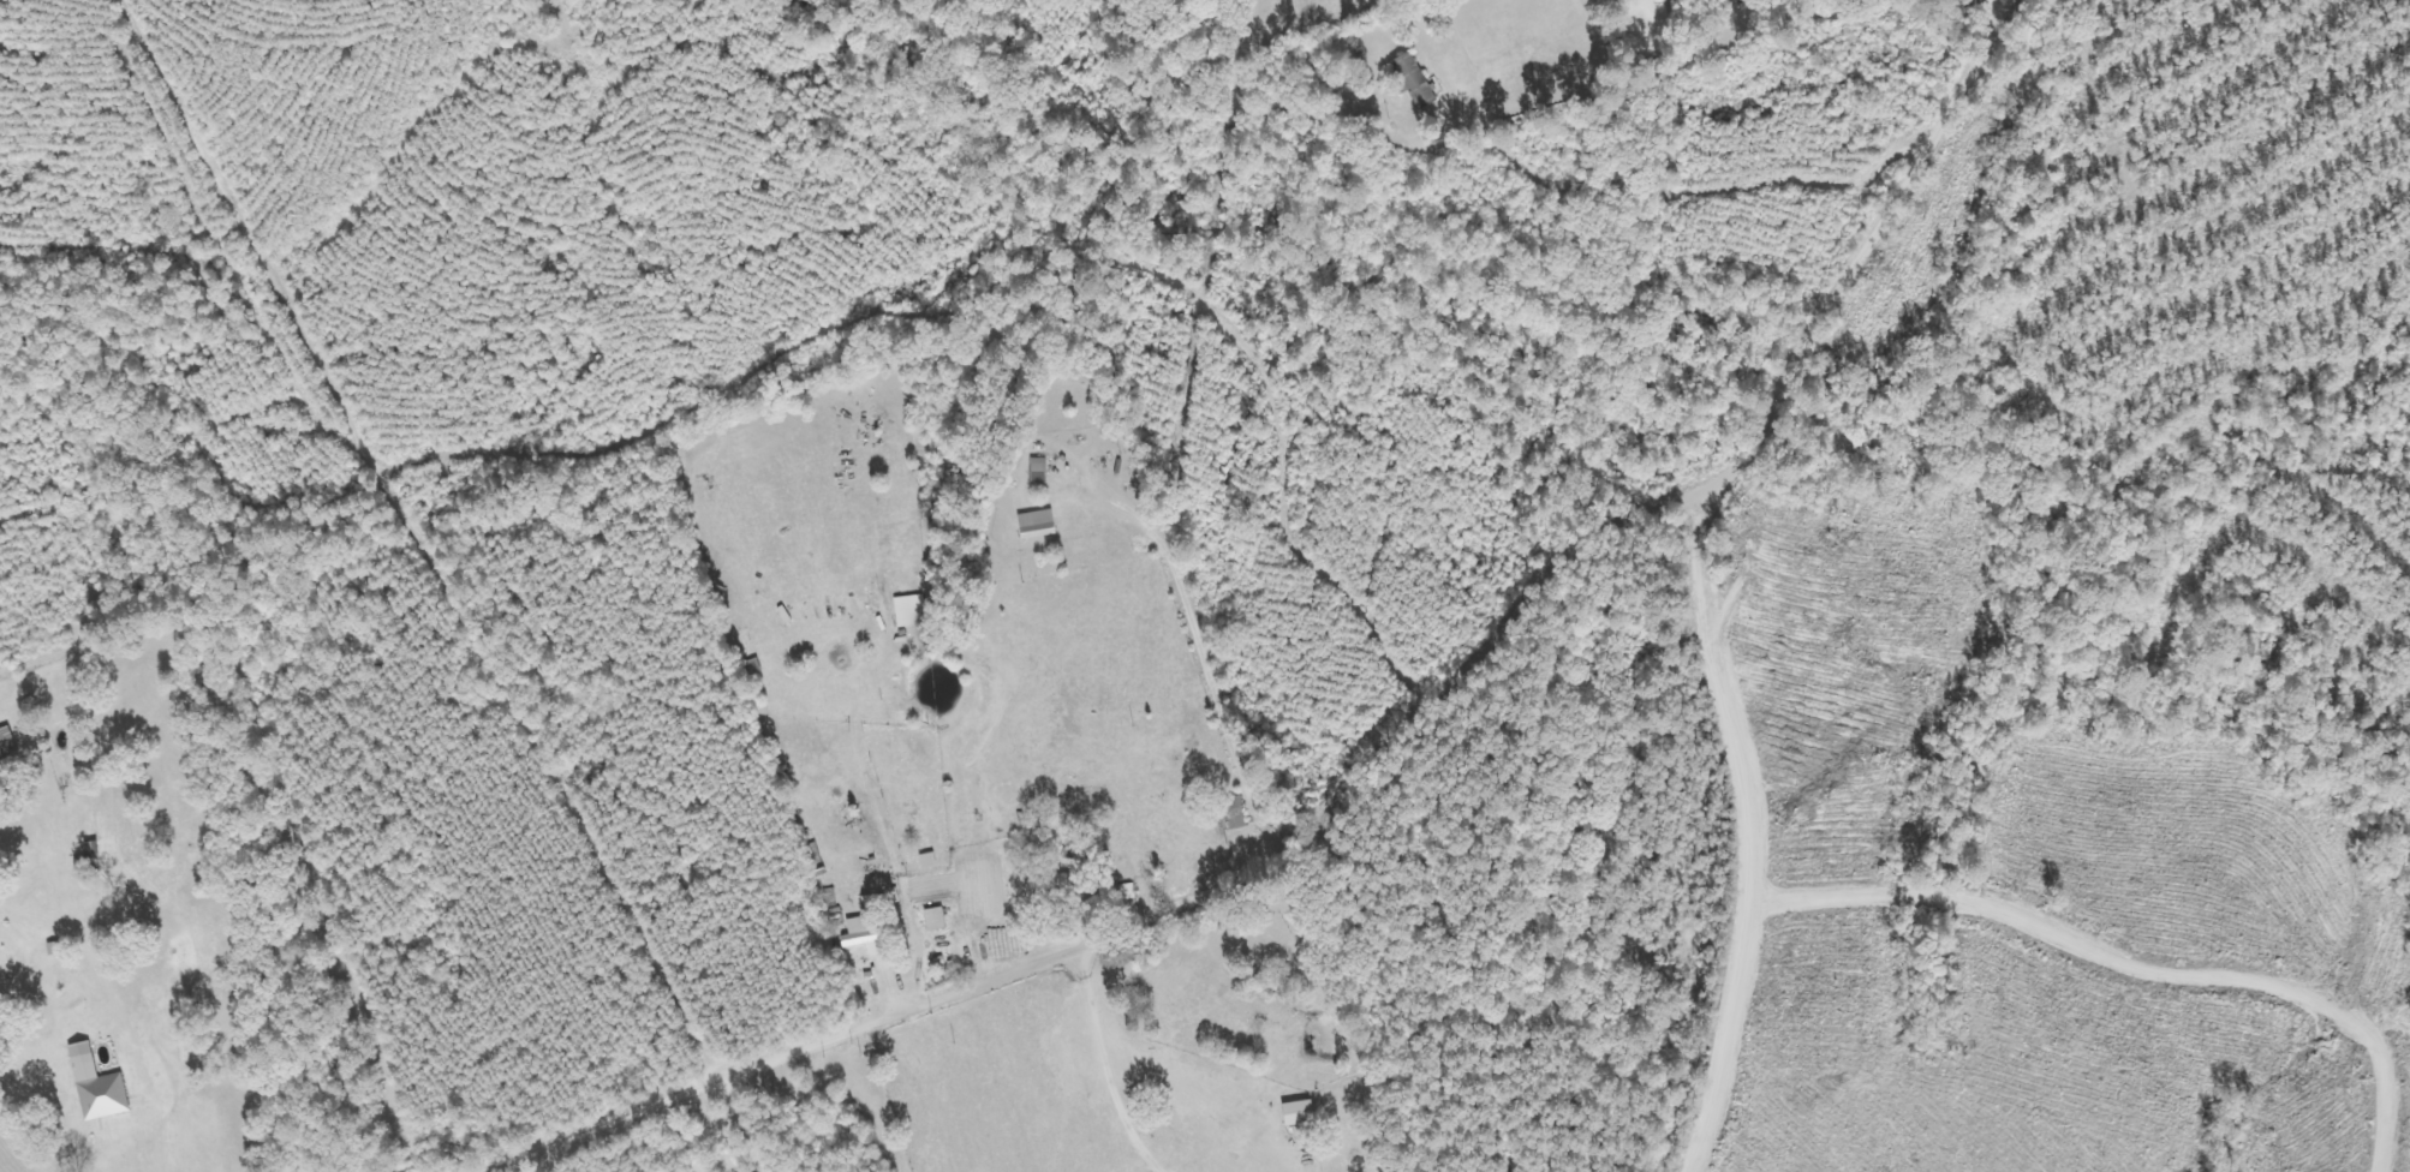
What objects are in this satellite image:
building: (1414, 80)
building: (1037, 525)
building: (909, 611)
road: (1365, 757)
building: (0, 760)
road: (1744, 836)
building: (1063, 886)
building: (935, 919)
building: (866, 934)
building: (54, 949)
road: (2129, 964)
building: (96, 1086)
building: (1298, 1112)

